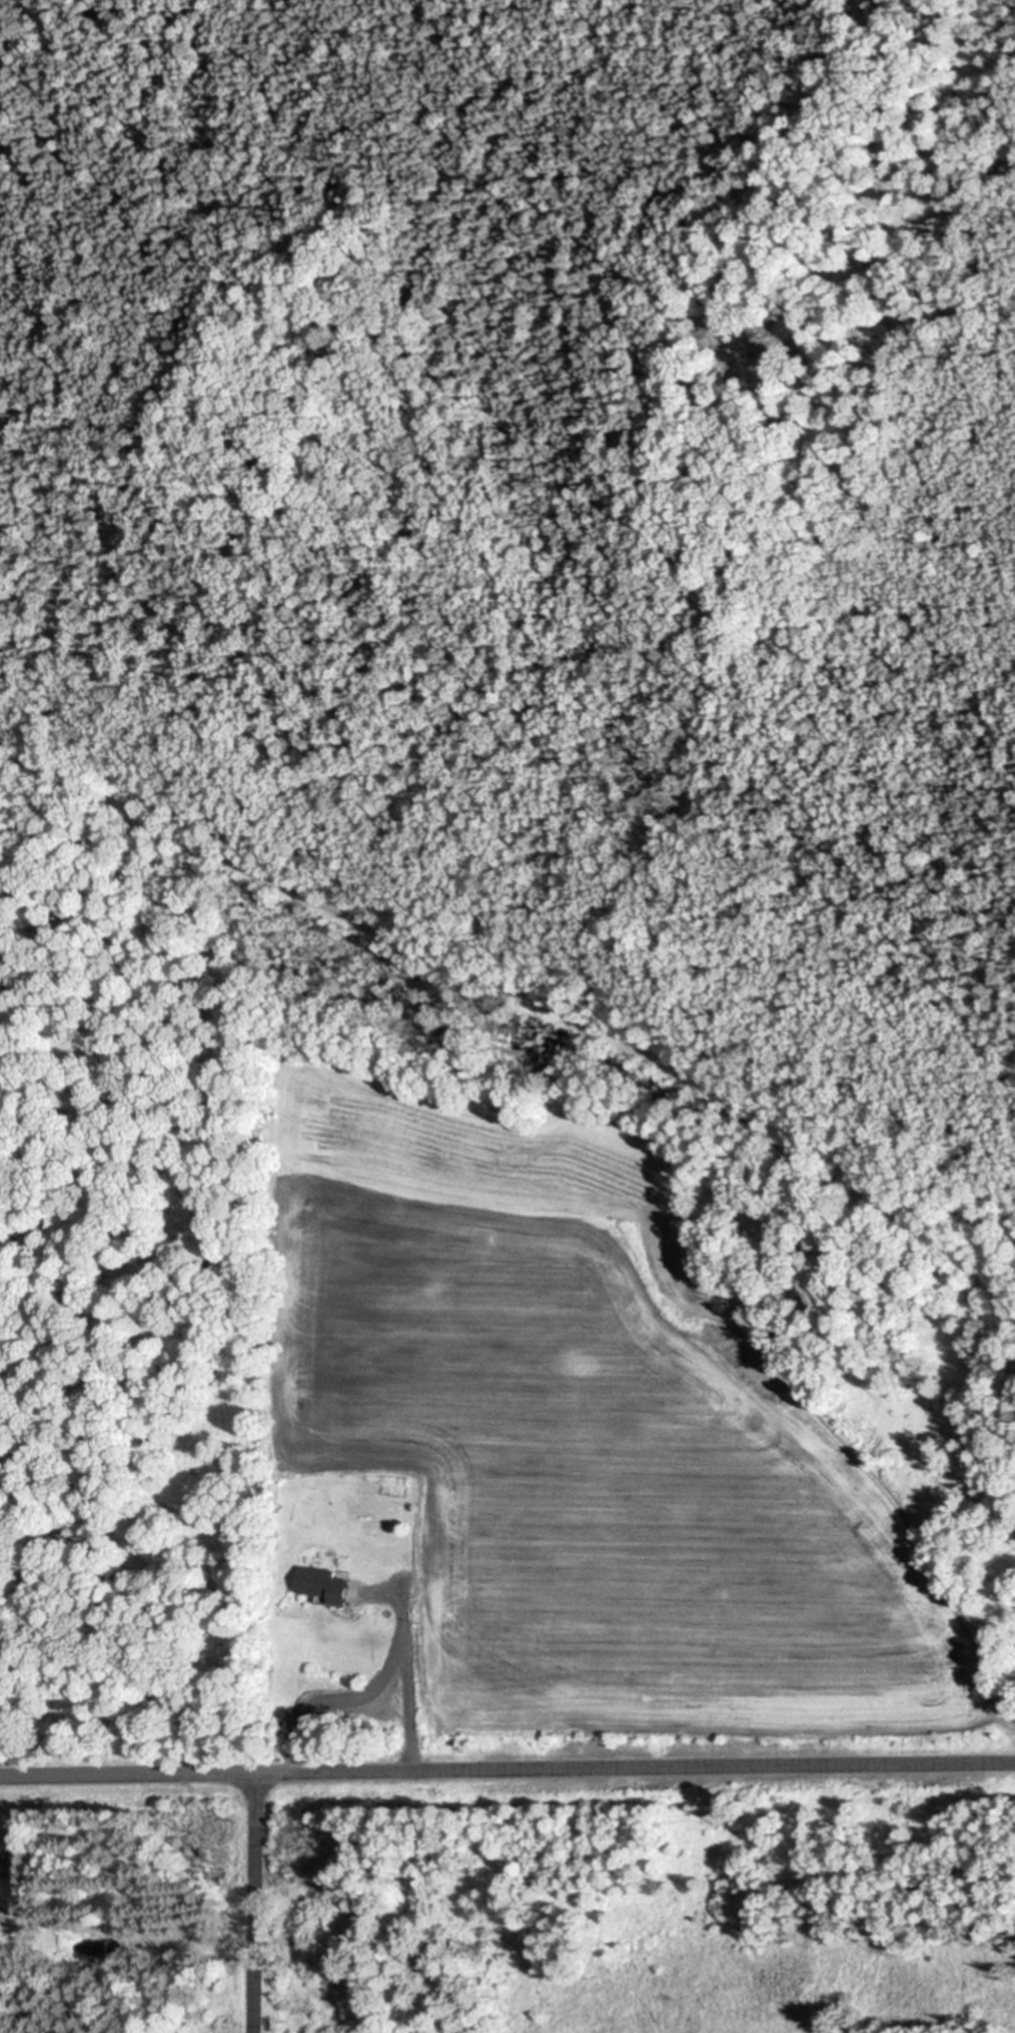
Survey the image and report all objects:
road: (526, 998)
building: (319, 1586)
road: (404, 1686)
road: (507, 1769)
road: (254, 1902)

